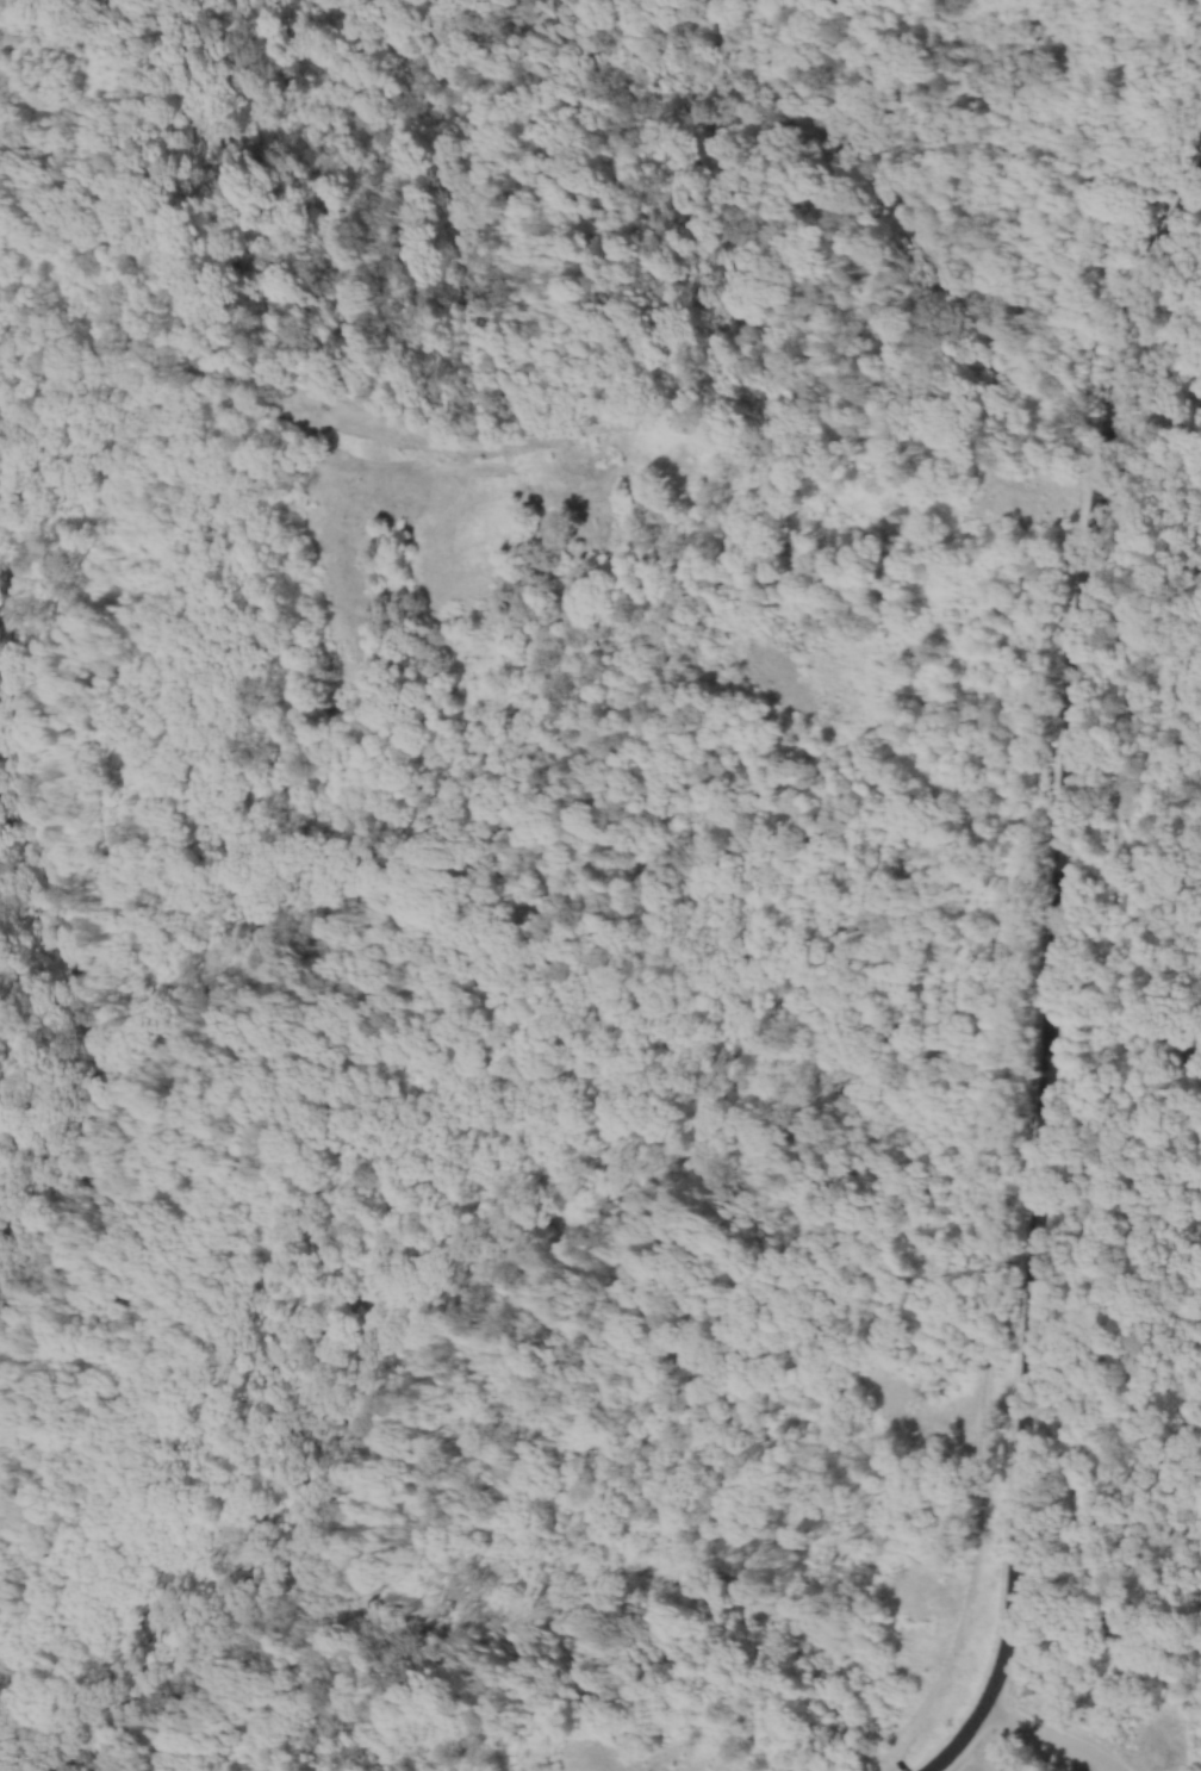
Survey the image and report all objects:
road: (1114, 246)
road: (548, 429)
road: (1053, 967)
road: (1051, 1736)

